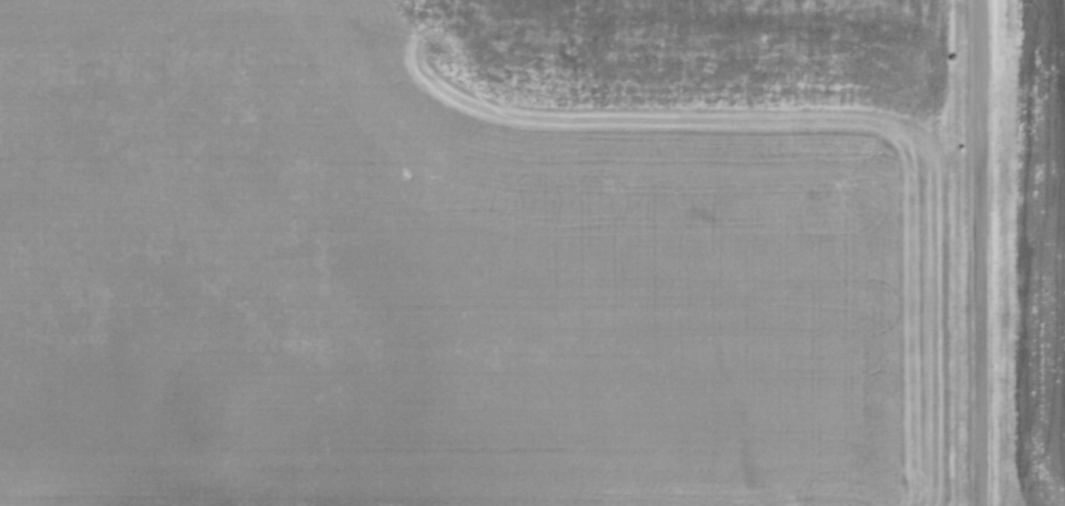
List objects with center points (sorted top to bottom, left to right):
road: (983, 252)

